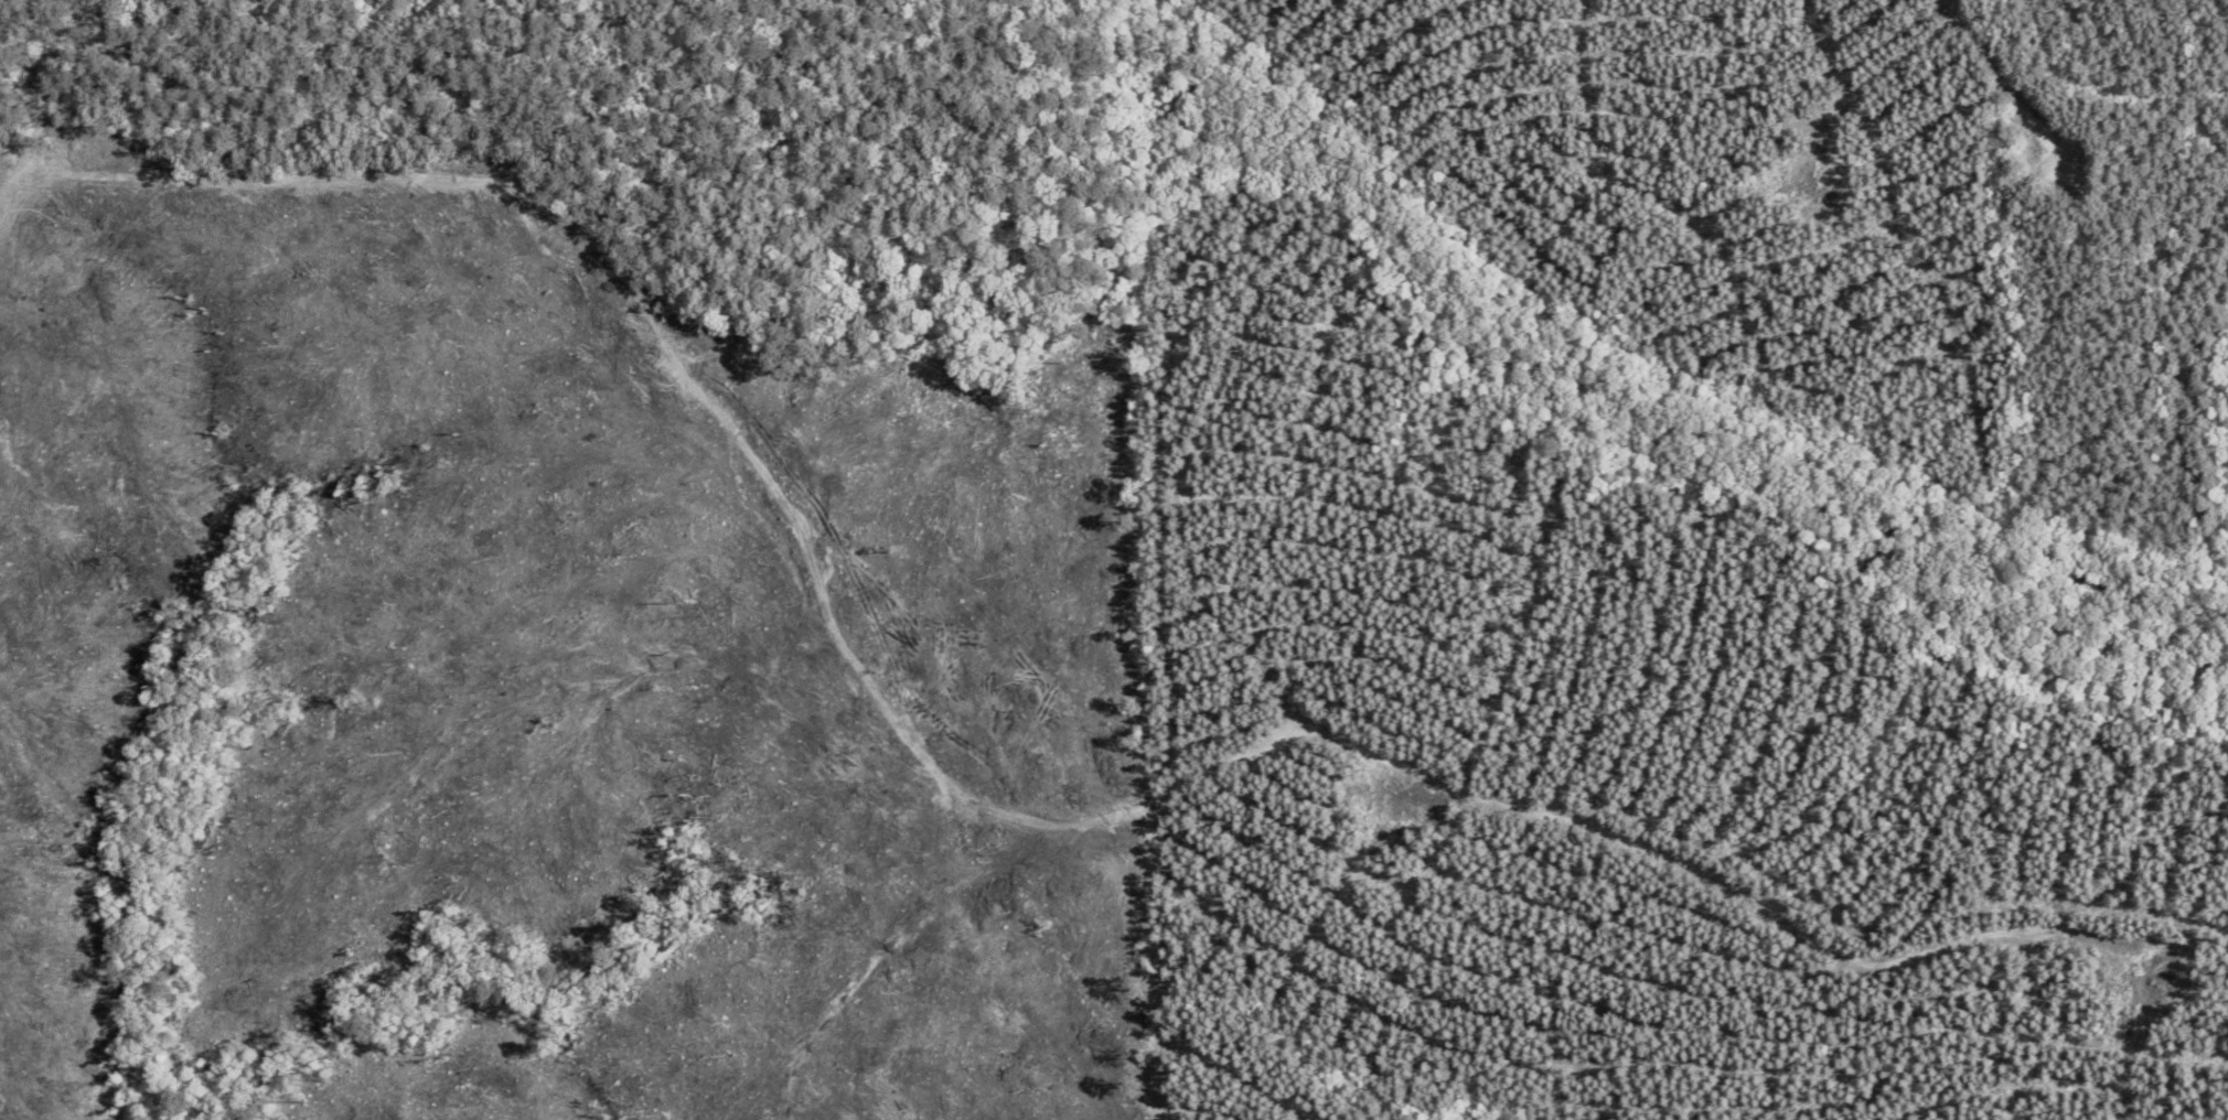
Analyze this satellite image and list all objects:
building: (2037, 141)

